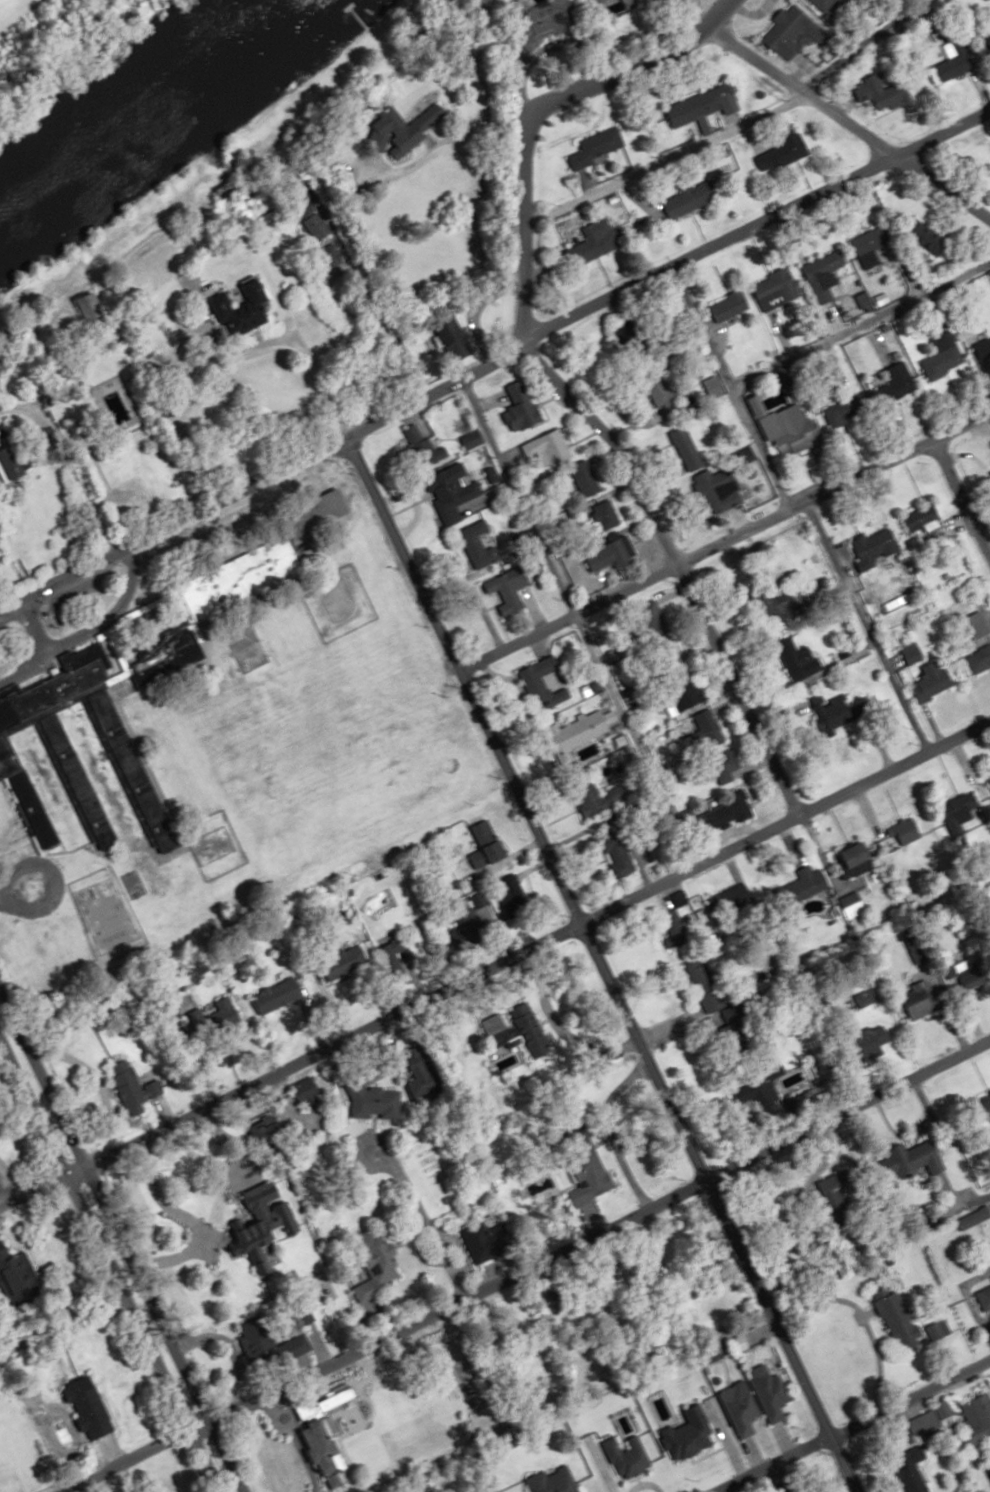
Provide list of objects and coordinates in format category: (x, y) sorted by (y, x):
building: (593, 0)
building: (631, 2)
building: (832, 6)
building: (551, 17)
road: (709, 25)
building: (793, 31)
building: (986, 34)
road: (637, 48)
building: (955, 58)
building: (877, 90)
river: (122, 99)
building: (699, 104)
road: (856, 126)
building: (416, 128)
building: (598, 146)
building: (785, 150)
building: (691, 197)
road: (520, 202)
road: (467, 213)
building: (929, 237)
building: (597, 240)
building: (871, 245)
road: (658, 254)
road: (711, 271)
building: (824, 274)
building: (777, 291)
building: (255, 303)
building: (729, 305)
road: (277, 338)
building: (944, 355)
building: (897, 381)
building: (521, 407)
building: (845, 409)
building: (788, 430)
building: (472, 438)
building: (422, 446)
building: (549, 446)
building: (11, 463)
building: (586, 478)
building: (454, 489)
building: (721, 489)
road: (956, 508)
building: (316, 512)
road: (168, 514)
building: (606, 514)
building: (922, 522)
road: (722, 536)
building: (478, 544)
building: (877, 544)
building: (607, 556)
road: (674, 558)
road: (10, 576)
building: (509, 589)
building: (776, 604)
road: (107, 618)
building: (976, 624)
parking lot: (3, 634)
road: (41, 645)
park: (245, 649)
building: (798, 657)
building: (978, 658)
building: (929, 683)
building: (543, 684)
building: (694, 694)
building: (832, 711)
building: (709, 728)
building: (582, 730)
building: (11, 748)
building: (720, 817)
building: (907, 830)
building: (488, 842)
building: (618, 853)
building: (859, 853)
park: (130, 883)
building: (805, 885)
road: (15, 889)
building: (678, 915)
road: (531, 937)
road: (595, 960)
building: (975, 967)
building: (920, 1000)
building: (529, 1026)
building: (879, 1038)
building: (131, 1089)
building: (374, 1101)
building: (987, 1103)
building: (931, 1156)
building: (903, 1162)
road: (36, 1182)
building: (834, 1183)
road: (594, 1229)
building: (488, 1240)
road: (115, 1250)
building: (383, 1260)
building: (12, 1270)
road: (320, 1296)
building: (985, 1300)
building: (898, 1318)
building: (300, 1345)
building: (769, 1392)
building: (742, 1408)
building: (92, 1416)
building: (976, 1418)
road: (848, 1423)
building: (326, 1452)
road: (122, 1455)
park: (16, 1456)
building: (554, 1479)
road: (60, 1489)

